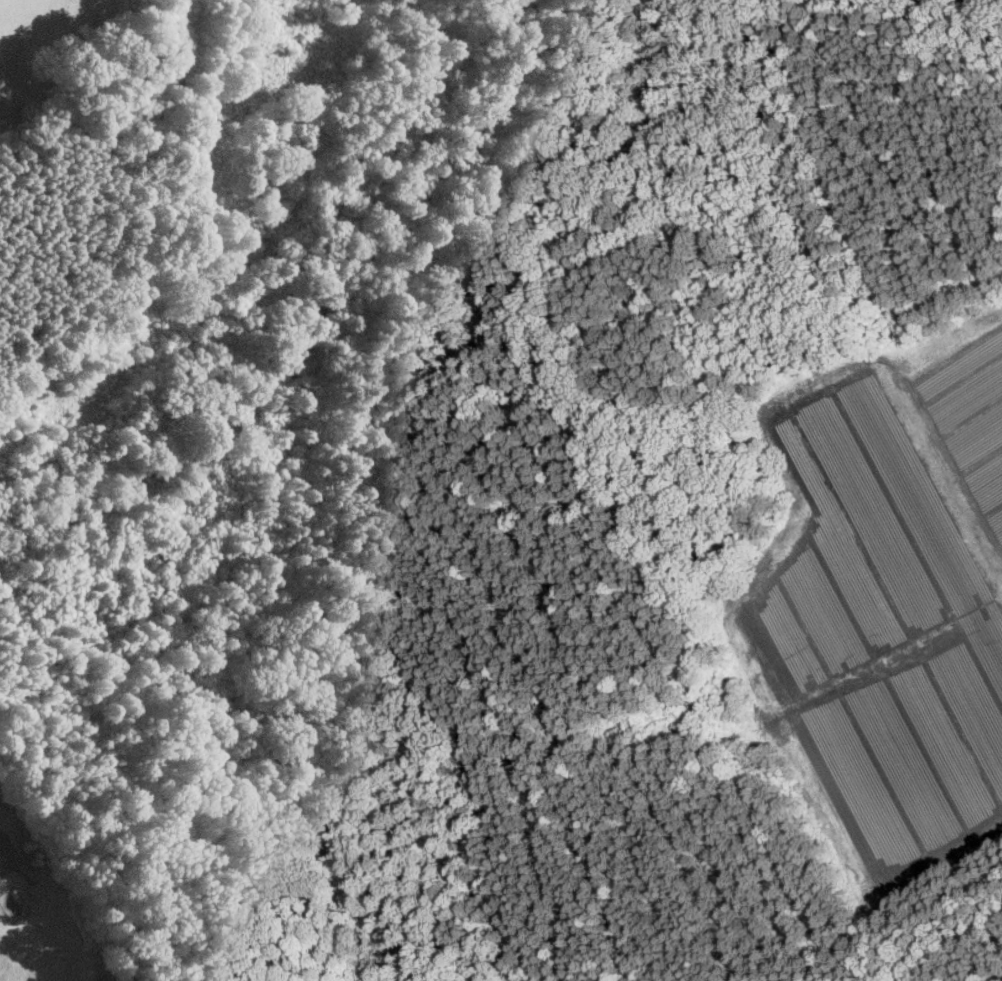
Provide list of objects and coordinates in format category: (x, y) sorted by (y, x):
crop: (35, 43)
road: (244, 104)
road: (168, 247)
road: (81, 351)
crop: (85, 392)
road: (2, 845)
building: (35, 888)

